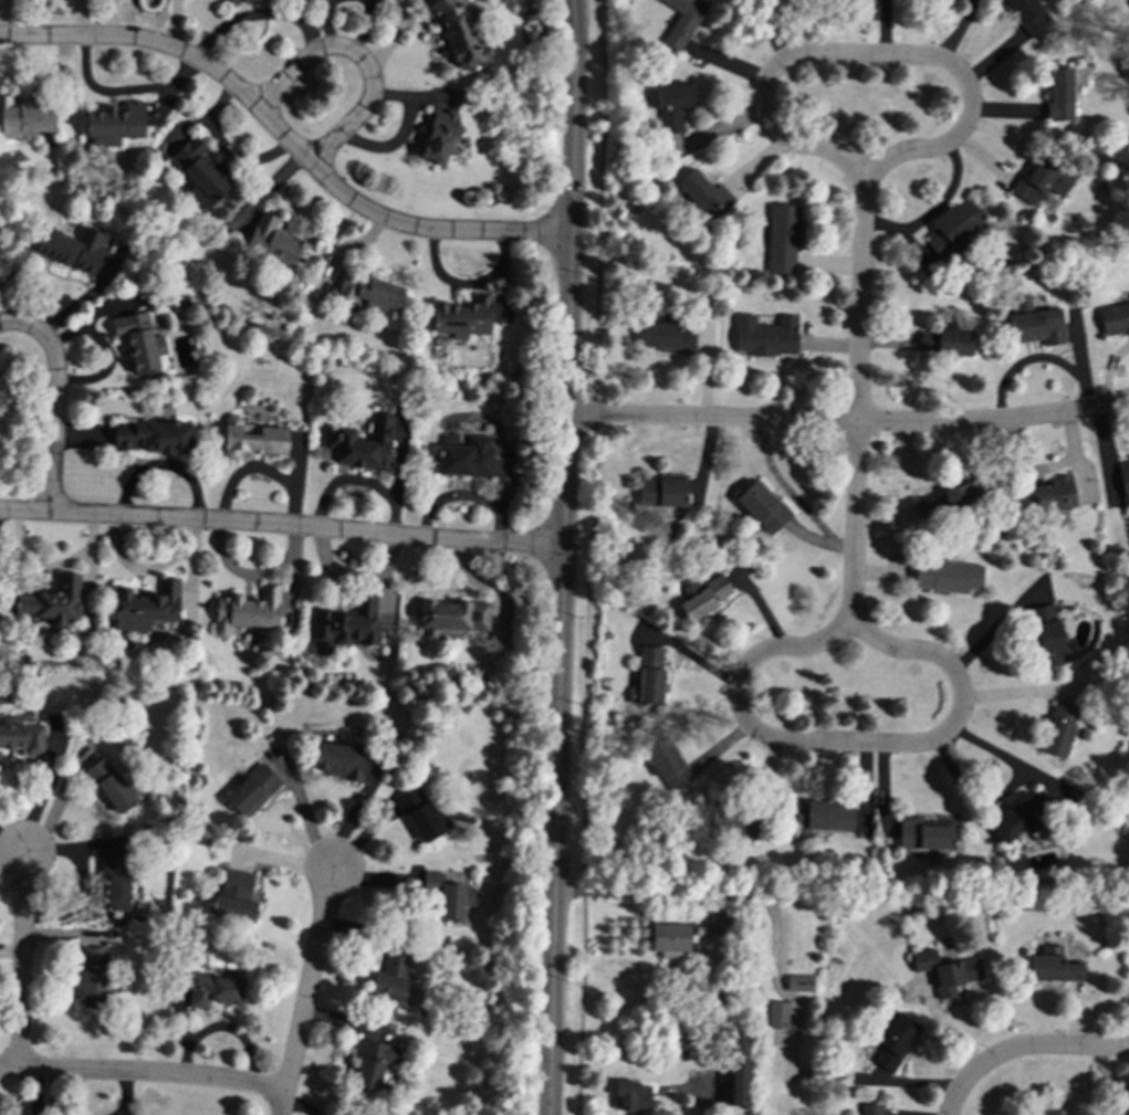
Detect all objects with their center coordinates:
building: (227, 0)
road: (572, 8)
road: (573, 8)
road: (257, 13)
building: (1028, 14)
building: (682, 20)
building: (458, 33)
road: (834, 55)
road: (359, 60)
building: (1059, 94)
building: (671, 105)
building: (24, 117)
building: (114, 124)
road: (285, 137)
building: (437, 137)
building: (200, 172)
building: (1043, 179)
building: (704, 193)
building: (953, 229)
building: (782, 238)
building: (274, 241)
building: (71, 248)
building: (369, 292)
road: (860, 299)
building: (462, 317)
building: (1114, 318)
building: (1033, 323)
building: (764, 335)
building: (667, 337)
building: (138, 341)
building: (944, 341)
road: (55, 401)
road: (848, 423)
building: (151, 436)
building: (253, 440)
building: (360, 443)
building: (467, 457)
building: (1123, 480)
building: (661, 493)
building: (1044, 495)
building: (942, 503)
building: (761, 506)
road: (854, 524)
road: (281, 527)
road: (590, 557)
road: (563, 565)
building: (945, 576)
building: (702, 596)
building: (52, 601)
building: (145, 606)
building: (245, 611)
building: (450, 617)
building: (347, 623)
building: (1045, 634)
building: (649, 677)
building: (1058, 729)
building: (22, 736)
road: (827, 743)
building: (339, 760)
building: (666, 764)
building: (109, 785)
building: (252, 790)
building: (421, 814)
building: (819, 817)
building: (733, 820)
building: (922, 834)
road: (12, 840)
building: (115, 883)
building: (448, 895)
road: (752, 895)
building: (233, 896)
building: (715, 923)
building: (669, 937)
road: (21, 960)
building: (1053, 966)
building: (945, 971)
building: (389, 975)
building: (93, 977)
building: (798, 982)
building: (213, 989)
road: (307, 990)
building: (777, 1014)
building: (893, 1040)
road: (1022, 1049)
building: (372, 1063)
building: (739, 1066)
road: (142, 1074)
road: (54, 1094)
road: (125, 1094)
building: (631, 1096)
building: (868, 1109)
building: (1048, 1111)
building: (1119, 1111)

